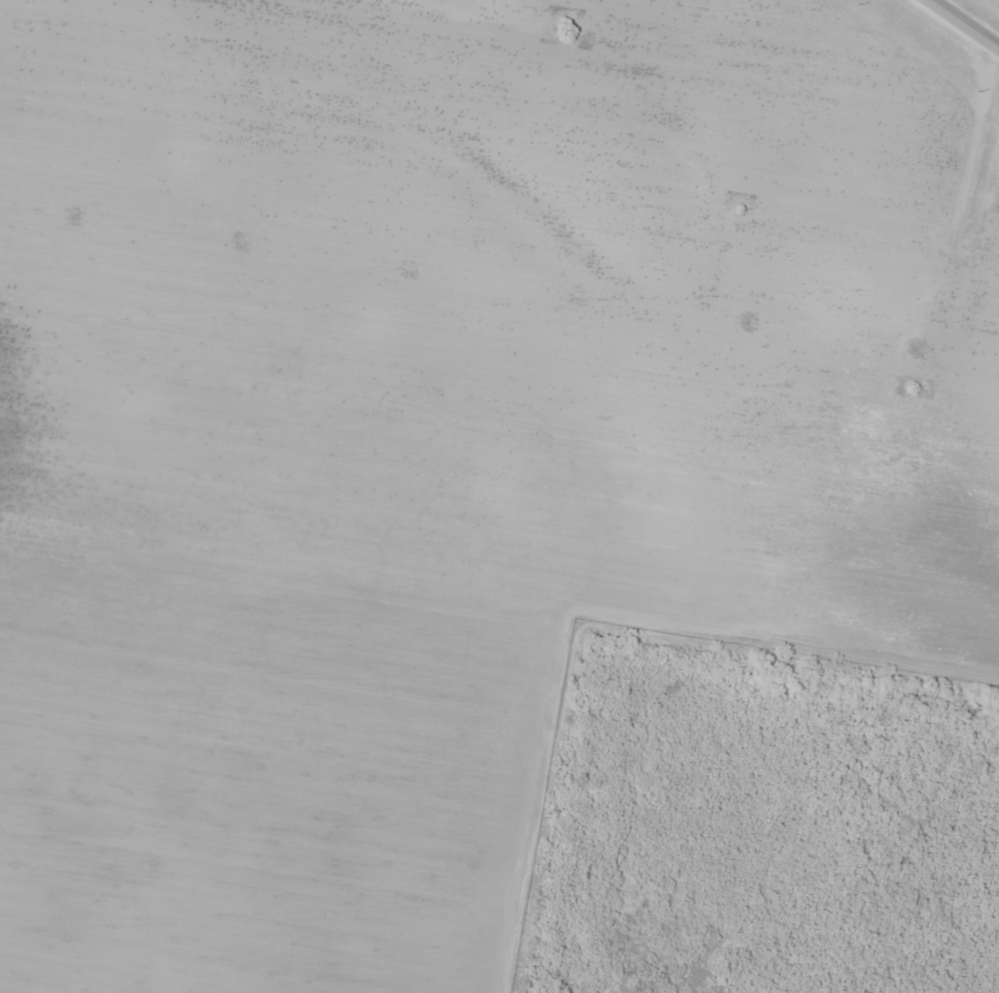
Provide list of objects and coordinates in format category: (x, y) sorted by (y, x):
road: (965, 23)

